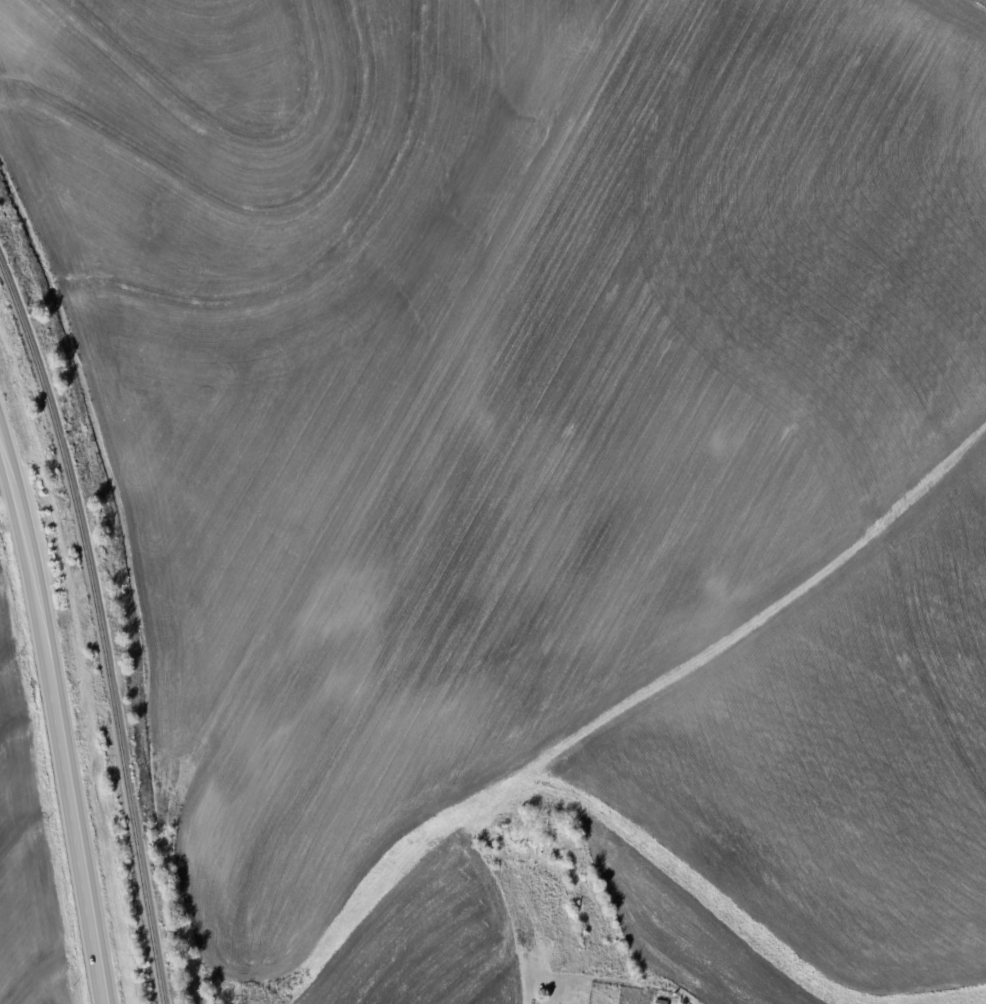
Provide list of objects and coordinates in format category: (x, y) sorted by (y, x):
road: (7, 500)
railway: (98, 629)
road: (57, 715)

